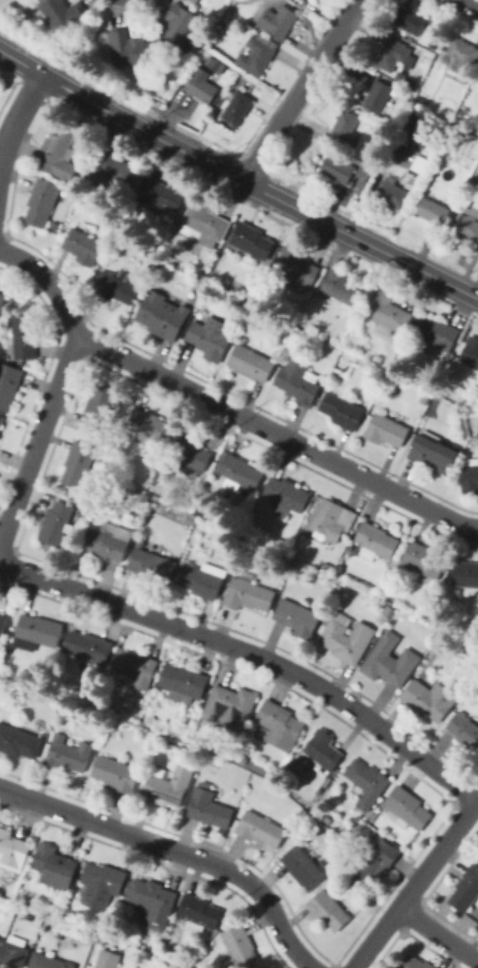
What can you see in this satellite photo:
building: (304, 0)
building: (194, 1)
road: (472, 2)
building: (62, 14)
building: (409, 20)
building: (278, 21)
building: (179, 27)
road: (81, 41)
building: (154, 42)
building: (128, 49)
building: (258, 54)
building: (396, 55)
building: (460, 59)
building: (427, 63)
building: (410, 80)
building: (477, 80)
building: (202, 88)
road: (299, 89)
building: (377, 96)
building: (424, 101)
building: (435, 101)
building: (237, 107)
road: (18, 115)
building: (344, 127)
building: (408, 137)
building: (59, 153)
building: (369, 154)
building: (338, 168)
building: (112, 171)
building: (363, 172)
road: (237, 177)
building: (393, 193)
building: (160, 196)
building: (42, 201)
building: (433, 211)
building: (205, 223)
building: (466, 225)
building: (252, 241)
building: (83, 246)
building: (297, 269)
building: (118, 286)
building: (342, 287)
building: (254, 294)
building: (2, 301)
building: (387, 313)
building: (162, 316)
building: (437, 332)
building: (24, 336)
building: (208, 340)
building: (328, 345)
building: (470, 352)
building: (250, 363)
building: (298, 381)
building: (9, 385)
building: (340, 385)
road: (222, 406)
building: (102, 407)
building: (342, 411)
building: (2, 421)
building: (151, 425)
building: (386, 430)
road: (38, 433)
building: (189, 454)
building: (434, 454)
building: (81, 465)
building: (239, 472)
building: (470, 477)
building: (287, 495)
building: (145, 497)
building: (331, 519)
building: (61, 522)
building: (376, 541)
building: (109, 543)
building: (285, 559)
building: (422, 561)
building: (151, 564)
building: (466, 575)
building: (204, 580)
building: (248, 593)
building: (298, 618)
building: (383, 618)
building: (3, 625)
building: (439, 630)
building: (38, 632)
building: (347, 637)
building: (89, 647)
road: (246, 659)
building: (390, 660)
building: (135, 668)
building: (183, 682)
building: (430, 699)
building: (230, 706)
building: (279, 725)
building: (465, 732)
building: (19, 741)
building: (324, 749)
building: (228, 751)
building: (68, 753)
building: (243, 759)
building: (116, 774)
building: (367, 782)
building: (163, 788)
building: (208, 806)
building: (406, 808)
building: (314, 810)
building: (373, 815)
building: (358, 817)
building: (327, 820)
building: (261, 829)
building: (12, 850)
road: (173, 853)
building: (374, 861)
building: (54, 865)
building: (303, 867)
road: (417, 882)
building: (101, 885)
building: (466, 889)
building: (28, 900)
building: (153, 901)
building: (329, 911)
building: (199, 913)
road: (438, 935)
building: (99, 938)
building: (240, 948)
building: (12, 951)
building: (155, 951)
building: (173, 955)
building: (201, 957)
building: (105, 958)
building: (45, 961)
building: (416, 963)
building: (151, 967)
building: (155, 967)

